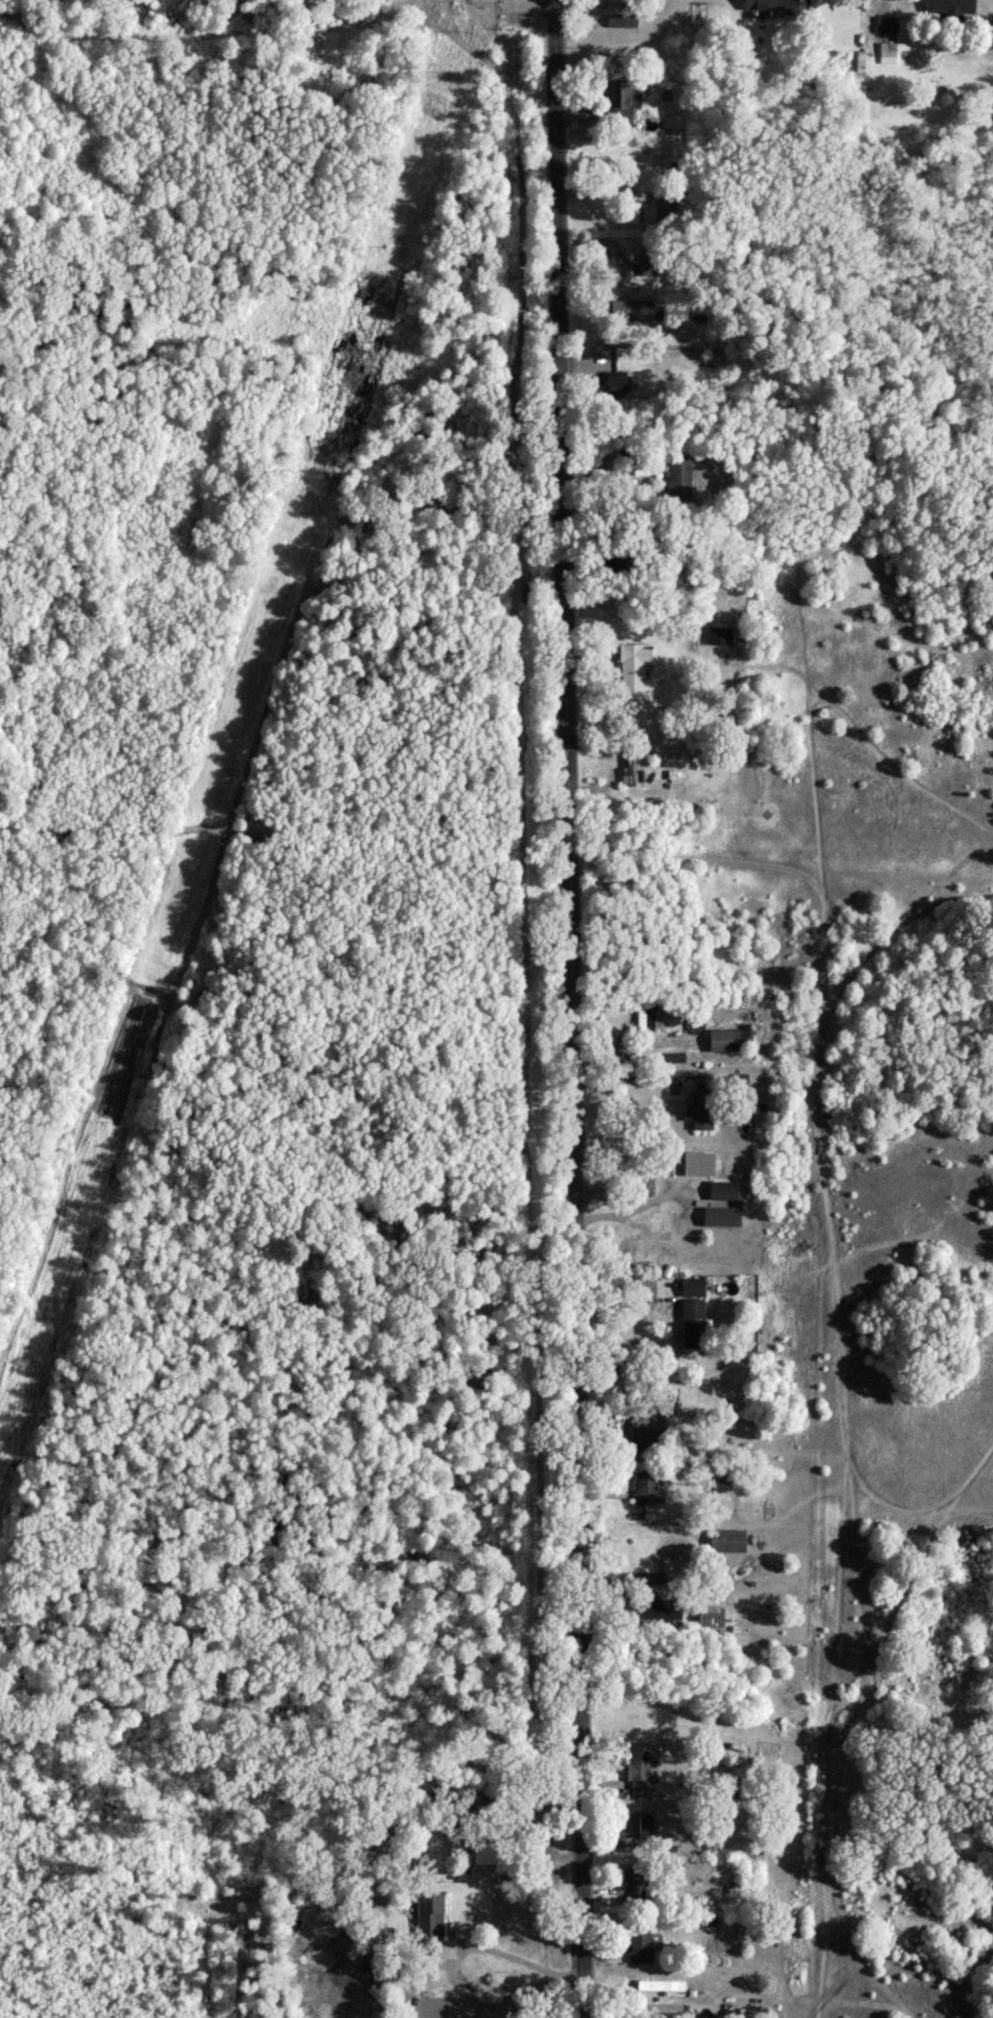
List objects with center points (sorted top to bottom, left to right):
power substation: (485, 4)
building: (764, 7)
building: (953, 10)
building: (623, 24)
building: (888, 58)
building: (862, 66)
building: (620, 101)
road: (608, 188)
building: (615, 385)
building: (680, 478)
building: (715, 638)
building: (636, 660)
building: (630, 773)
road: (568, 1008)
building: (645, 1022)
building: (725, 1045)
road: (624, 1072)
building: (700, 1114)
building: (724, 1195)
road: (629, 1212)
building: (715, 1221)
building: (693, 1291)
building: (693, 1326)
building: (648, 1491)
building: (729, 1544)
building: (671, 1577)
building: (665, 1613)
building: (713, 1621)
building: (744, 1769)
building: (641, 1778)
building: (641, 1828)
building: (642, 1885)
building: (640, 1950)
road: (522, 1959)

